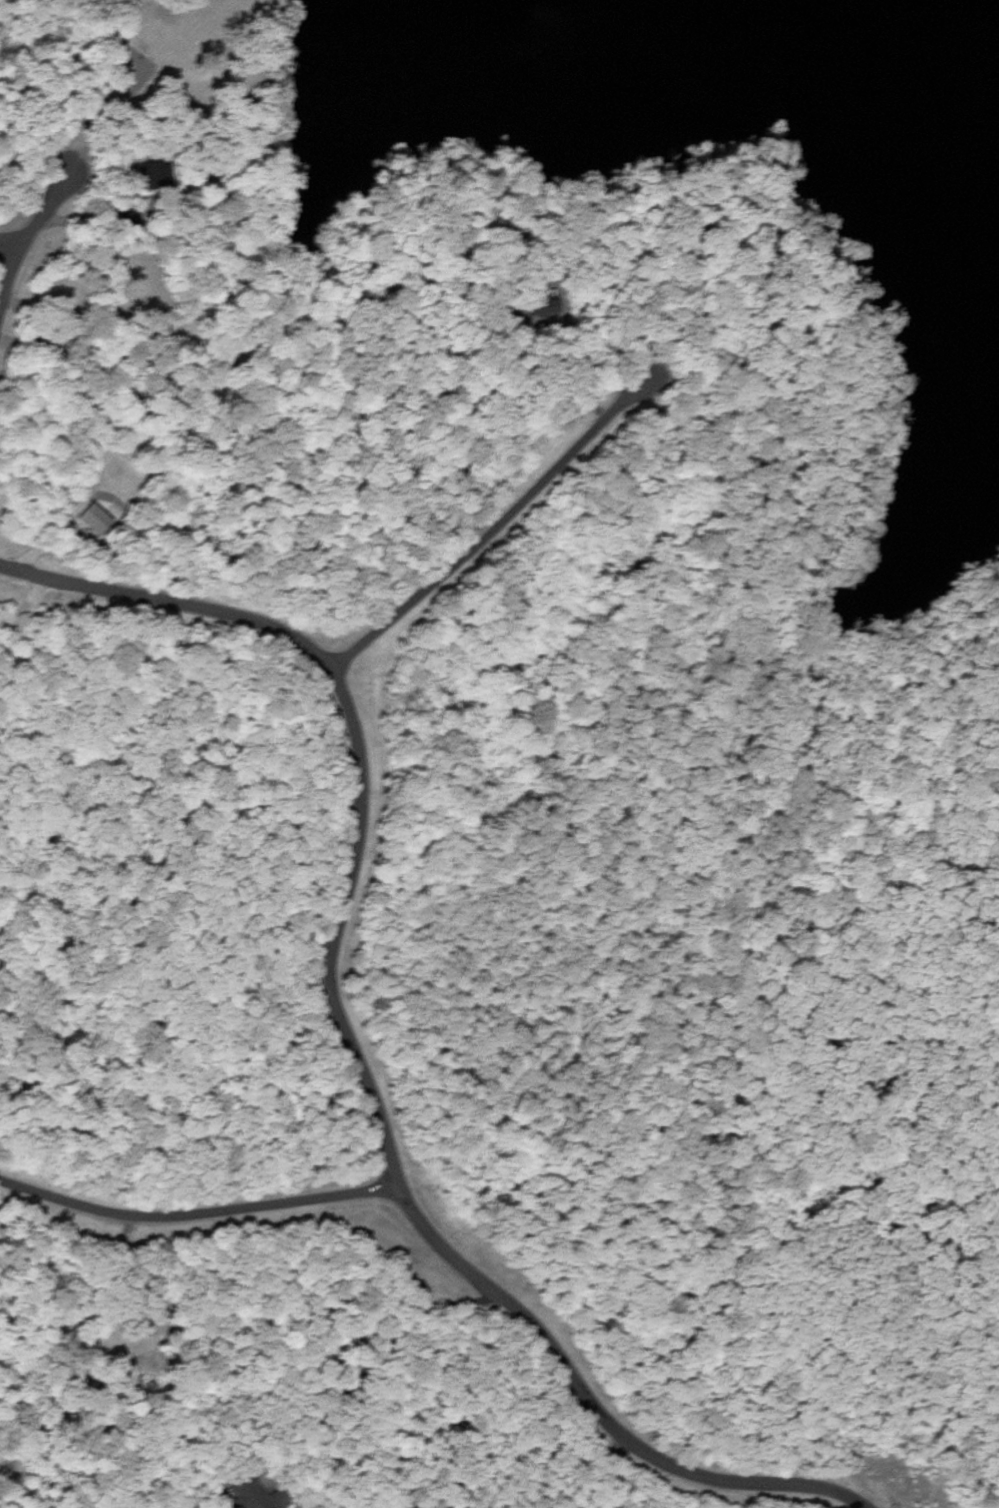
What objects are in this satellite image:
building: (154, 174)
road: (24, 238)
road: (9, 248)
building: (92, 519)
road: (486, 533)
road: (7, 581)
road: (357, 756)
road: (673, 1046)
road: (196, 1216)
road: (590, 1407)
building: (257, 1492)

